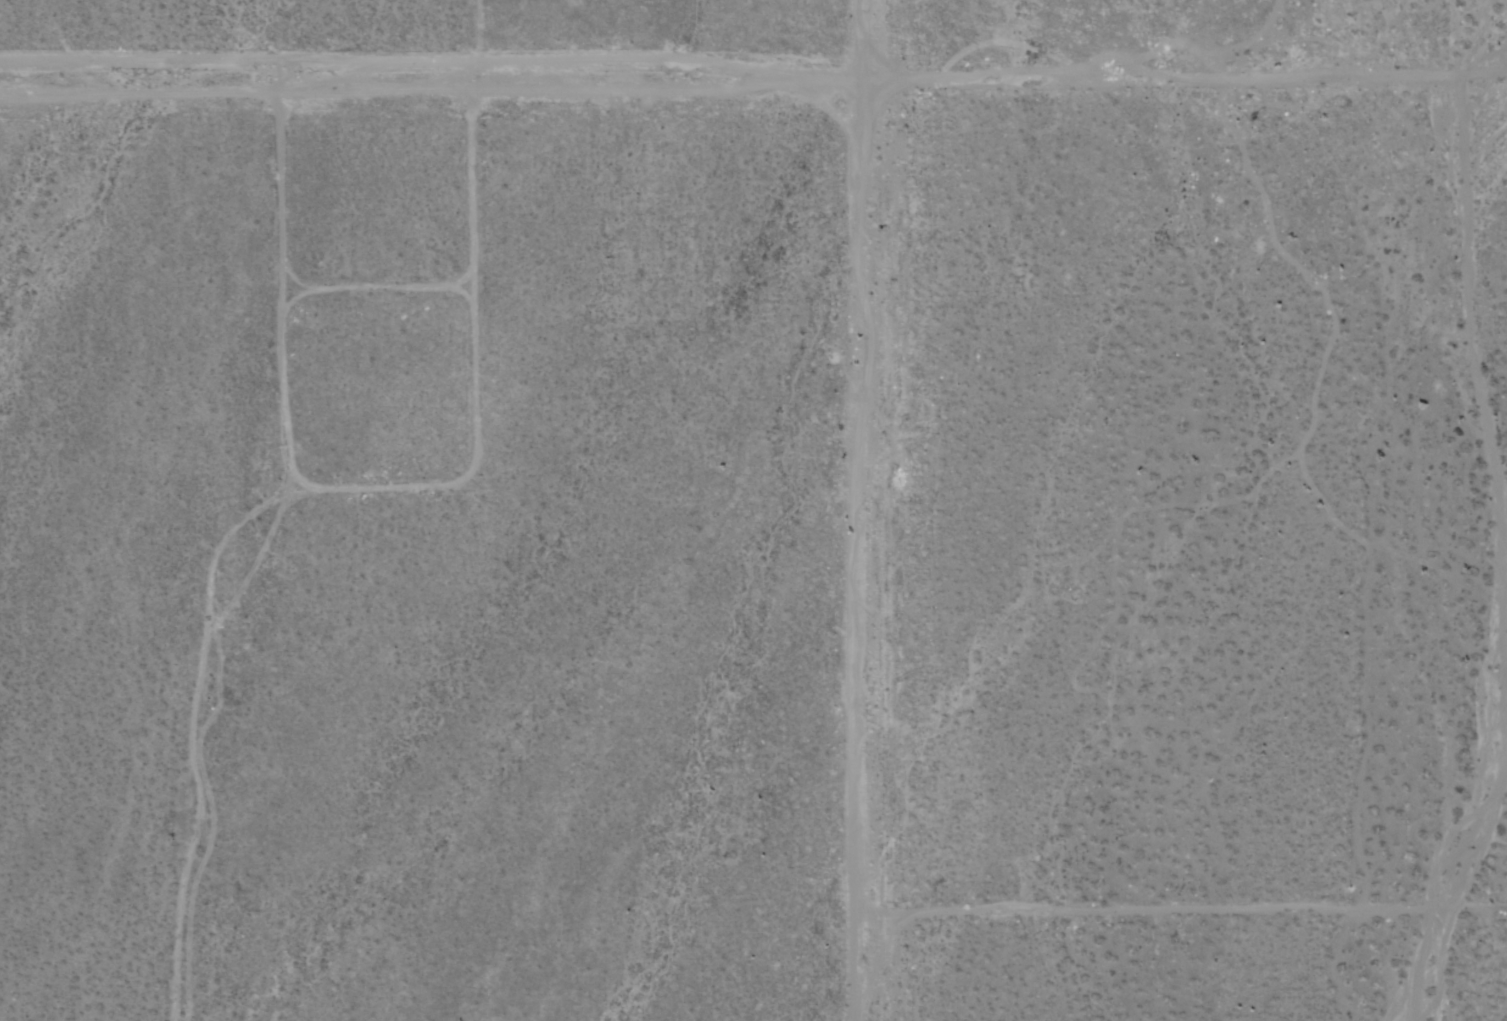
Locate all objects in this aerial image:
road: (470, 33)
road: (234, 63)
road: (987, 80)
road: (873, 510)
road: (1189, 908)

